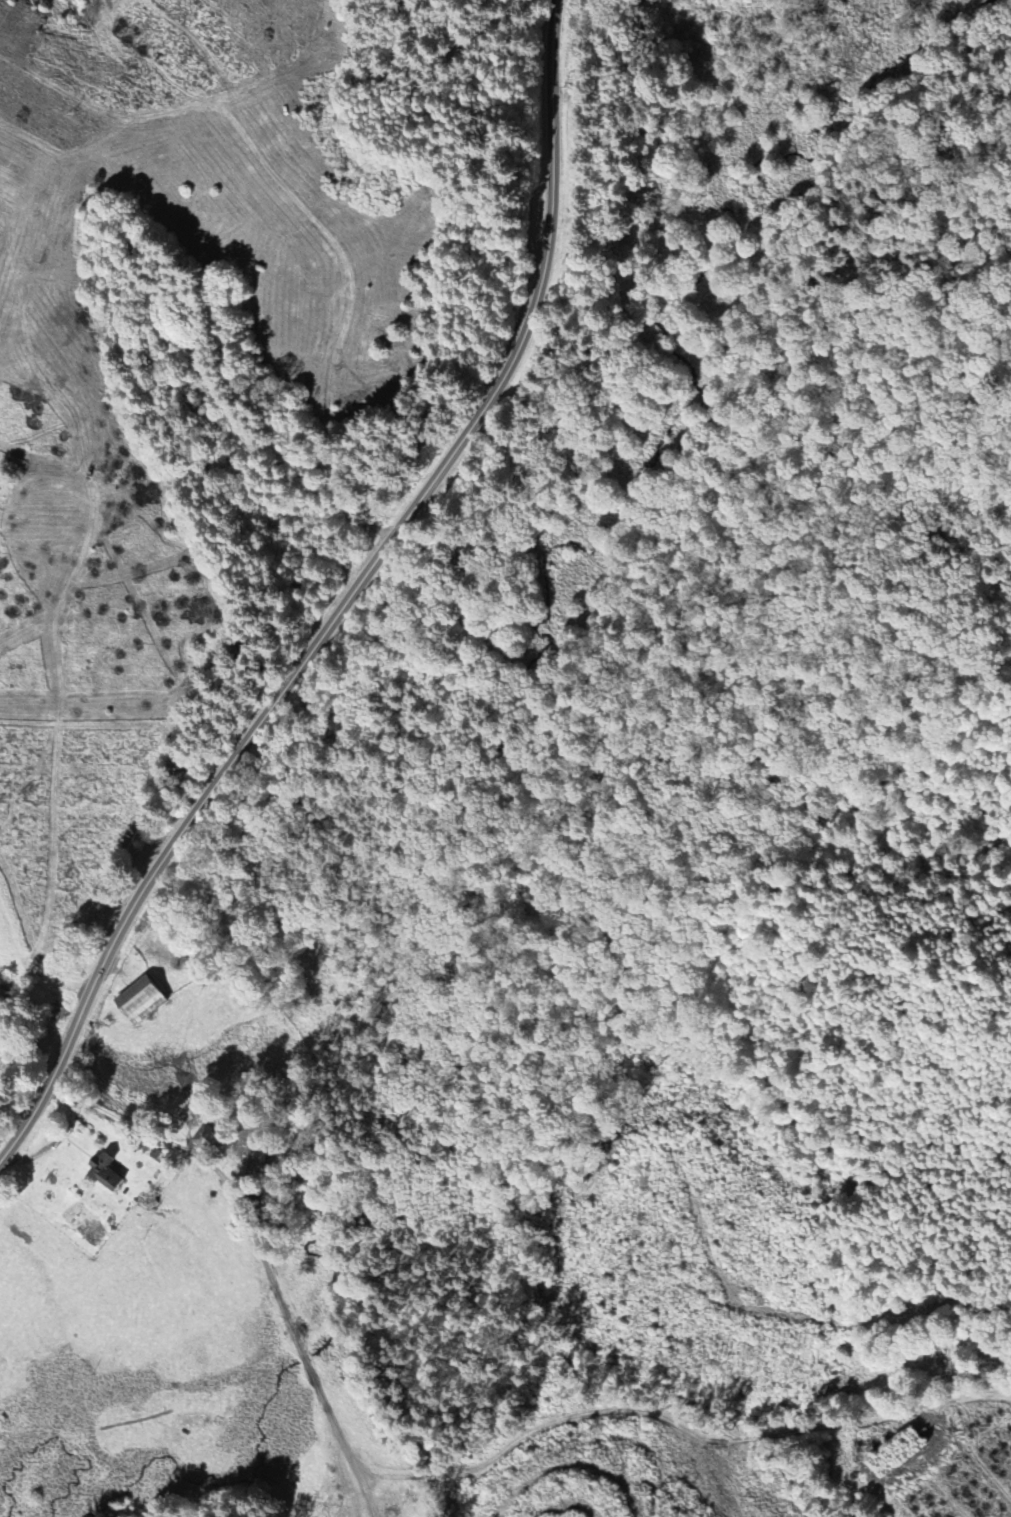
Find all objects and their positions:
road: (346, 600)
road: (259, 1255)

